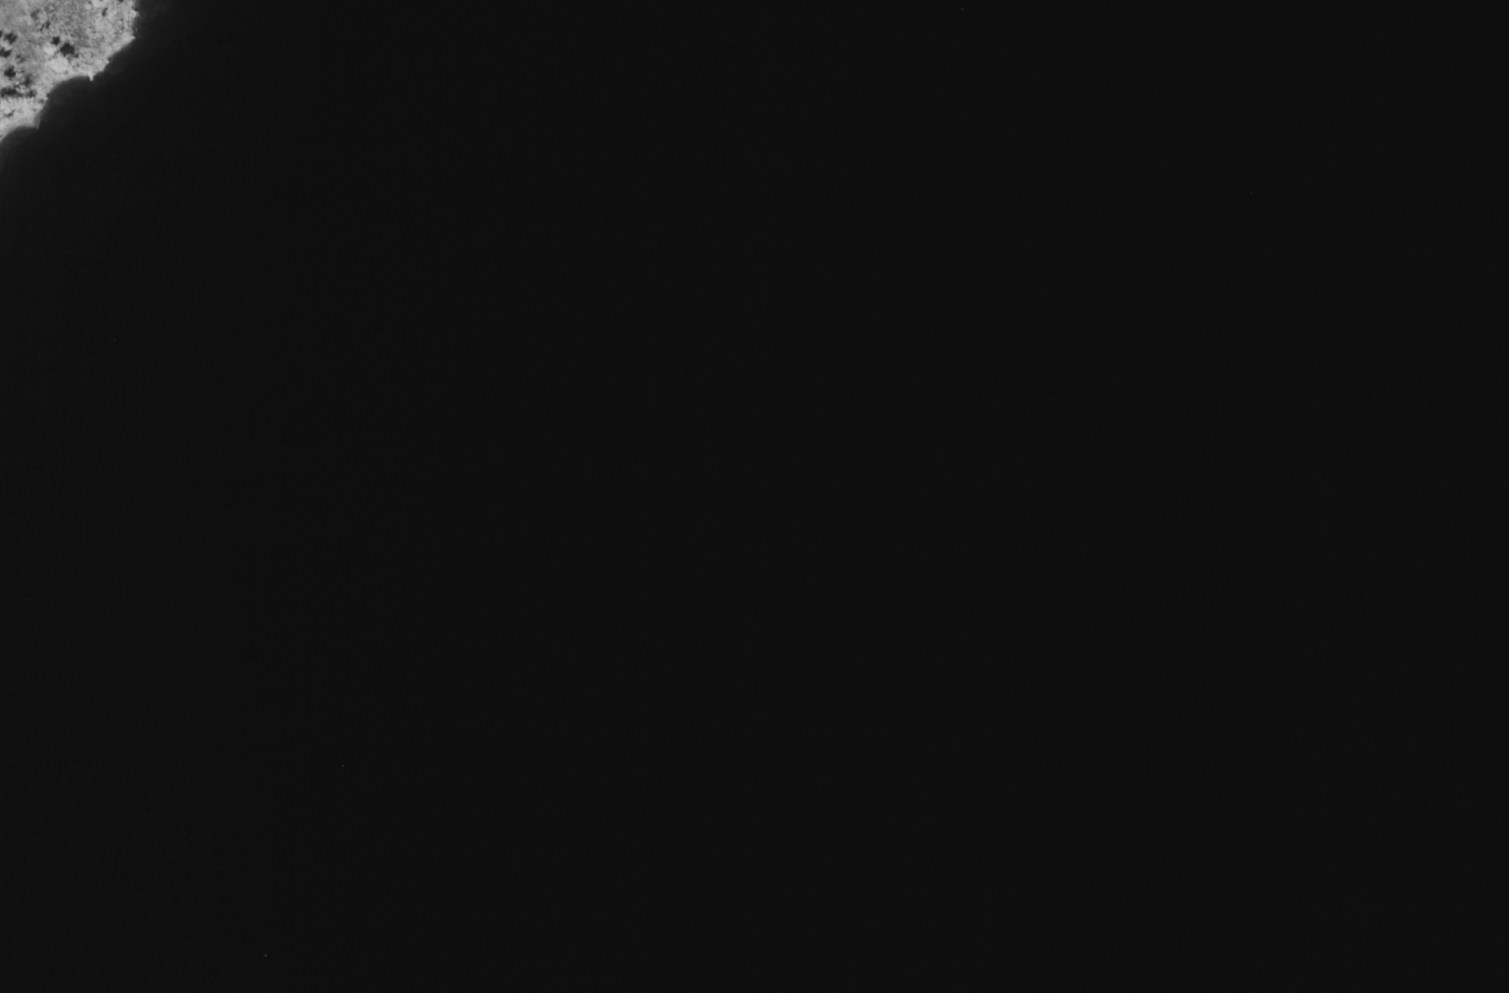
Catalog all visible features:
park: (60, 51)

